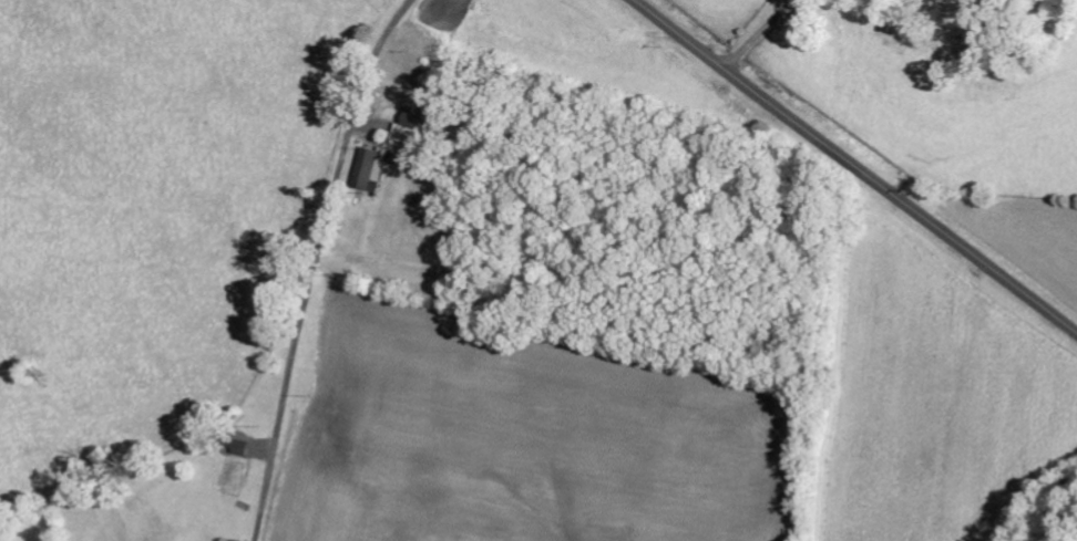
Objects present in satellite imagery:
building: (418, 129)
road: (855, 166)
building: (375, 169)
road: (319, 262)
building: (245, 449)
building: (236, 480)

